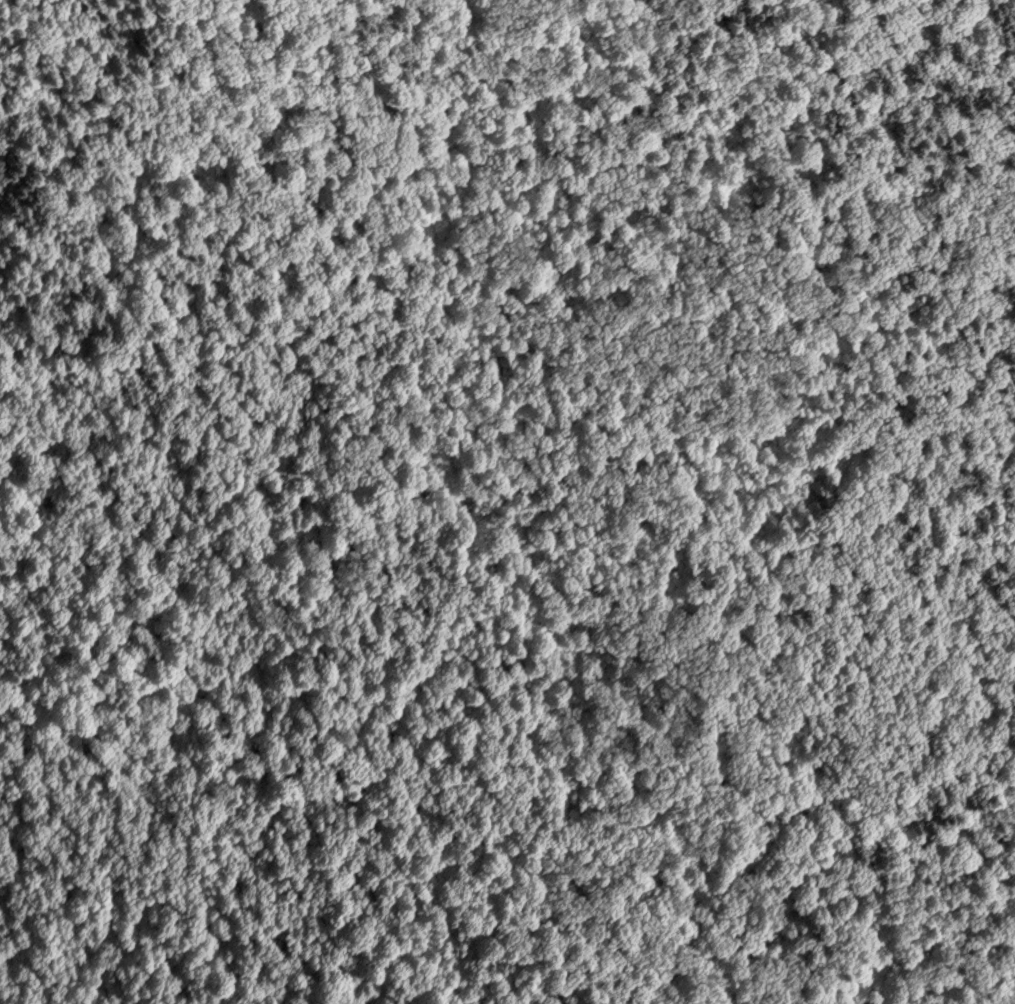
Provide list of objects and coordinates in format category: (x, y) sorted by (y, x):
road: (138, 343)
road: (288, 527)

